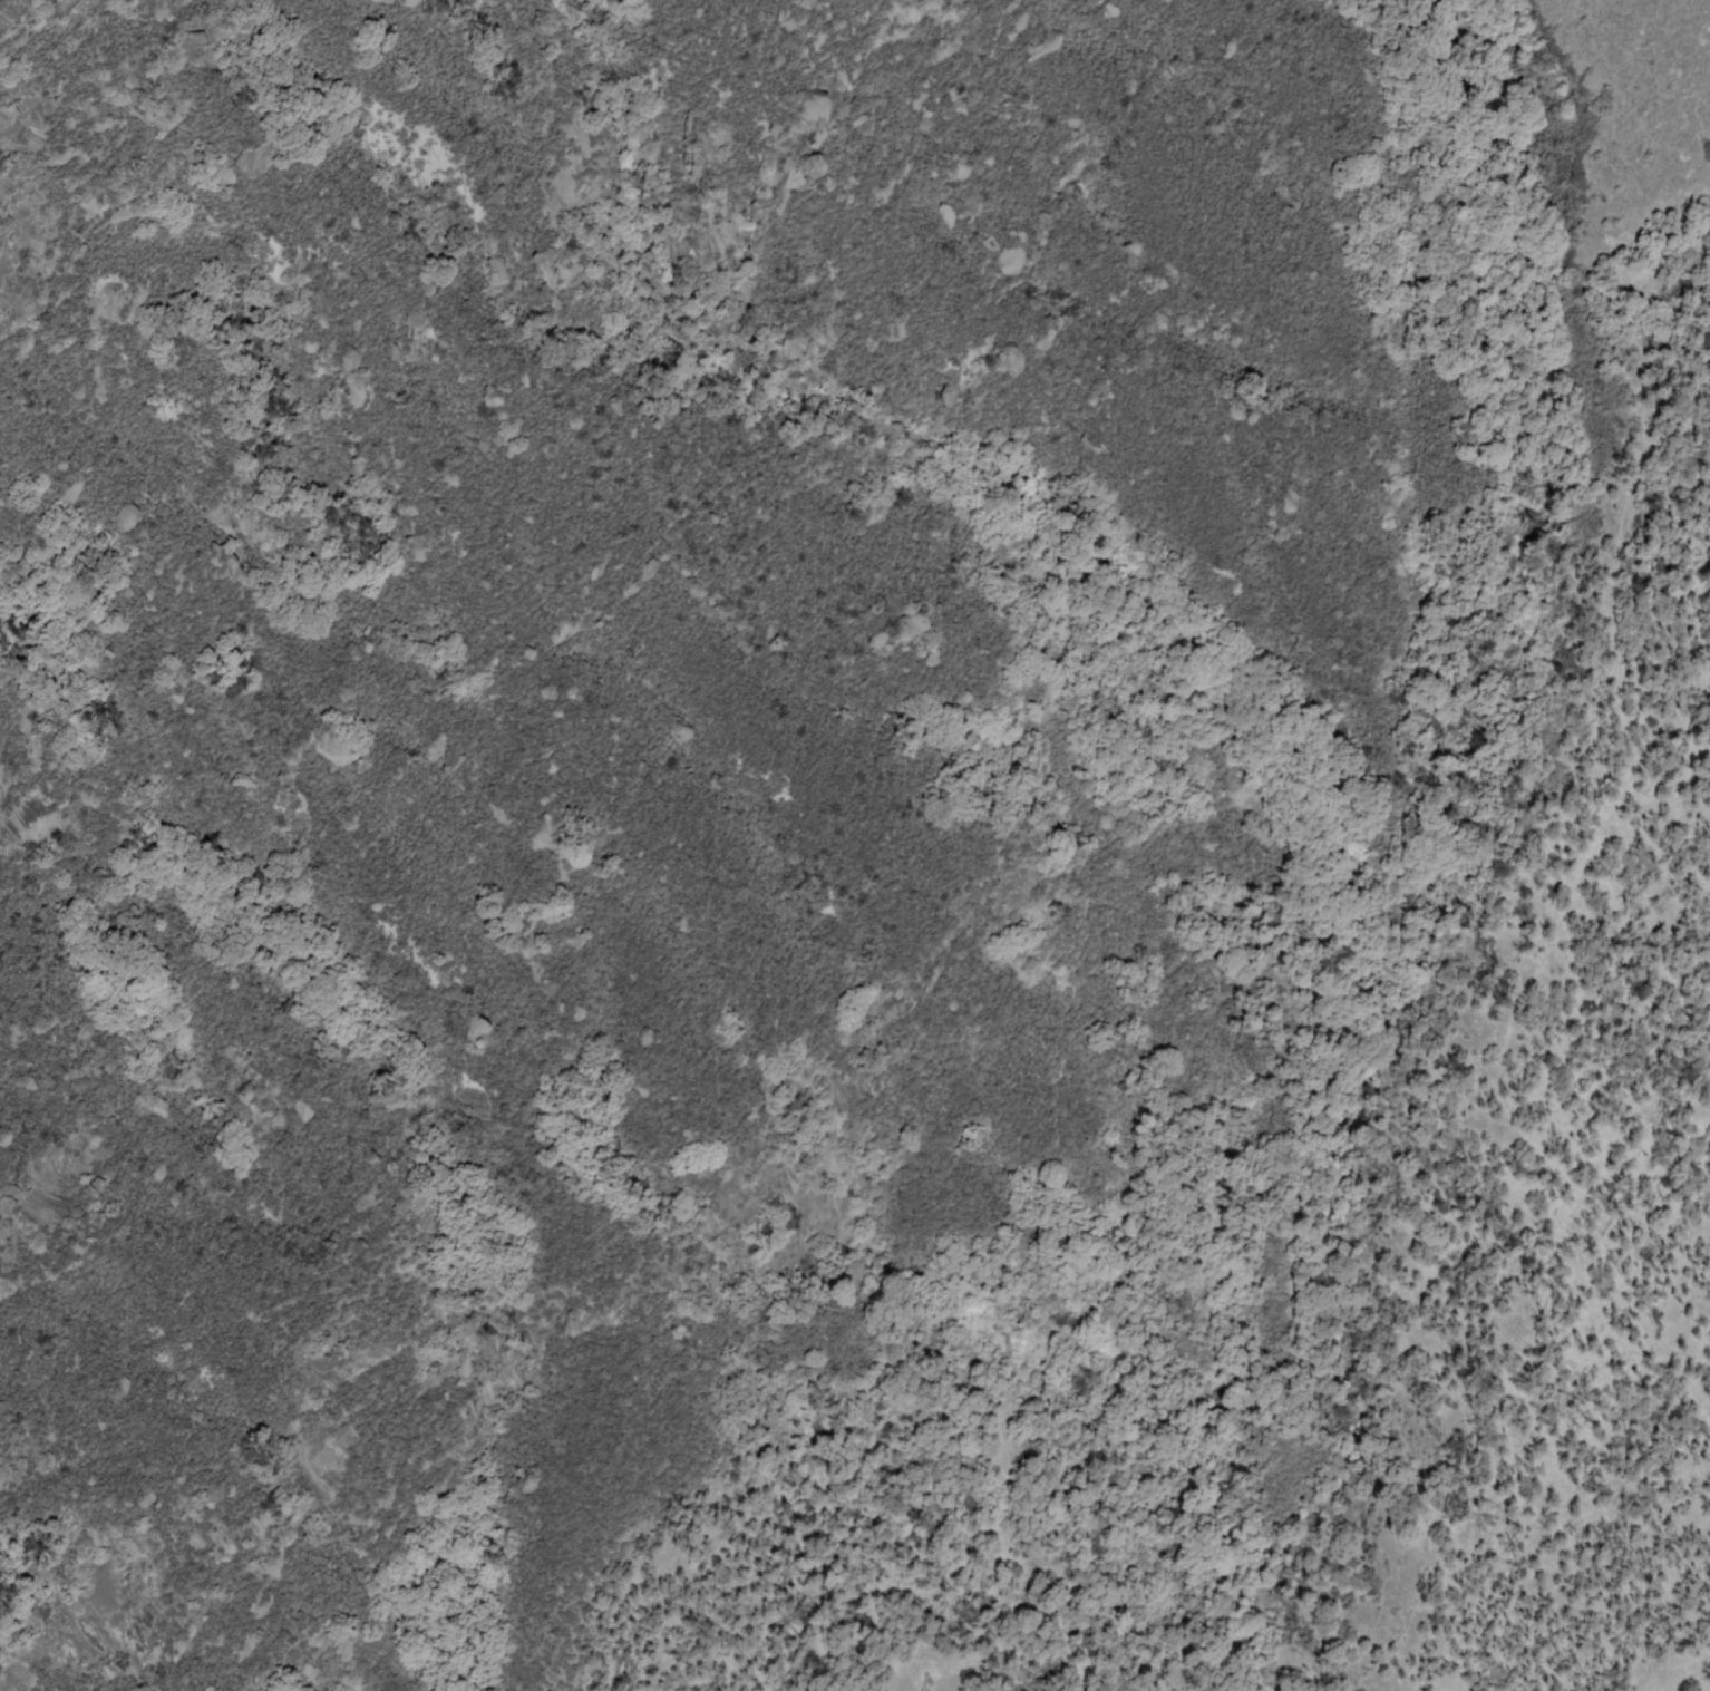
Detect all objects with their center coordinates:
building: (684, 1137)

